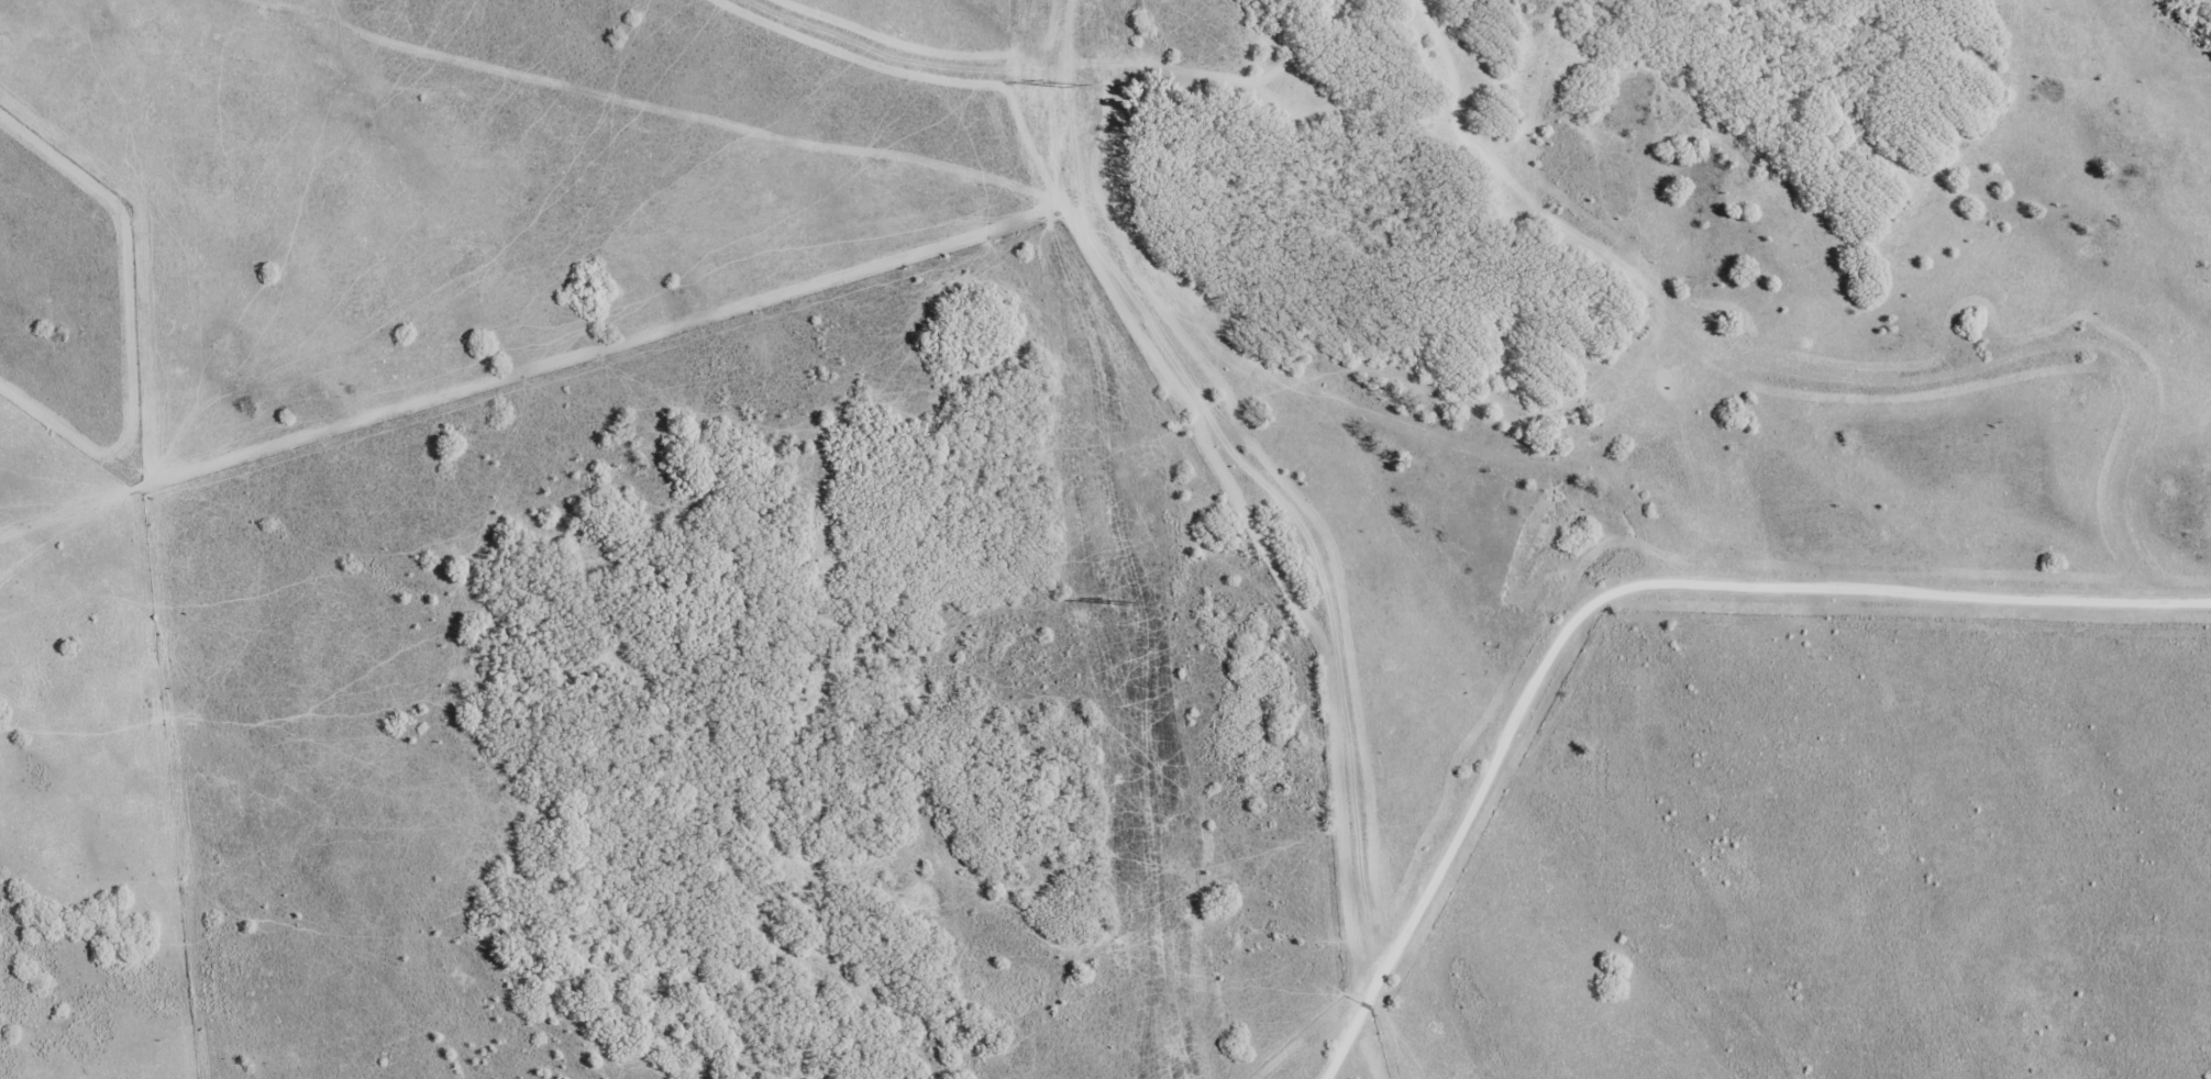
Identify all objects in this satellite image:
road: (1636, 603)

